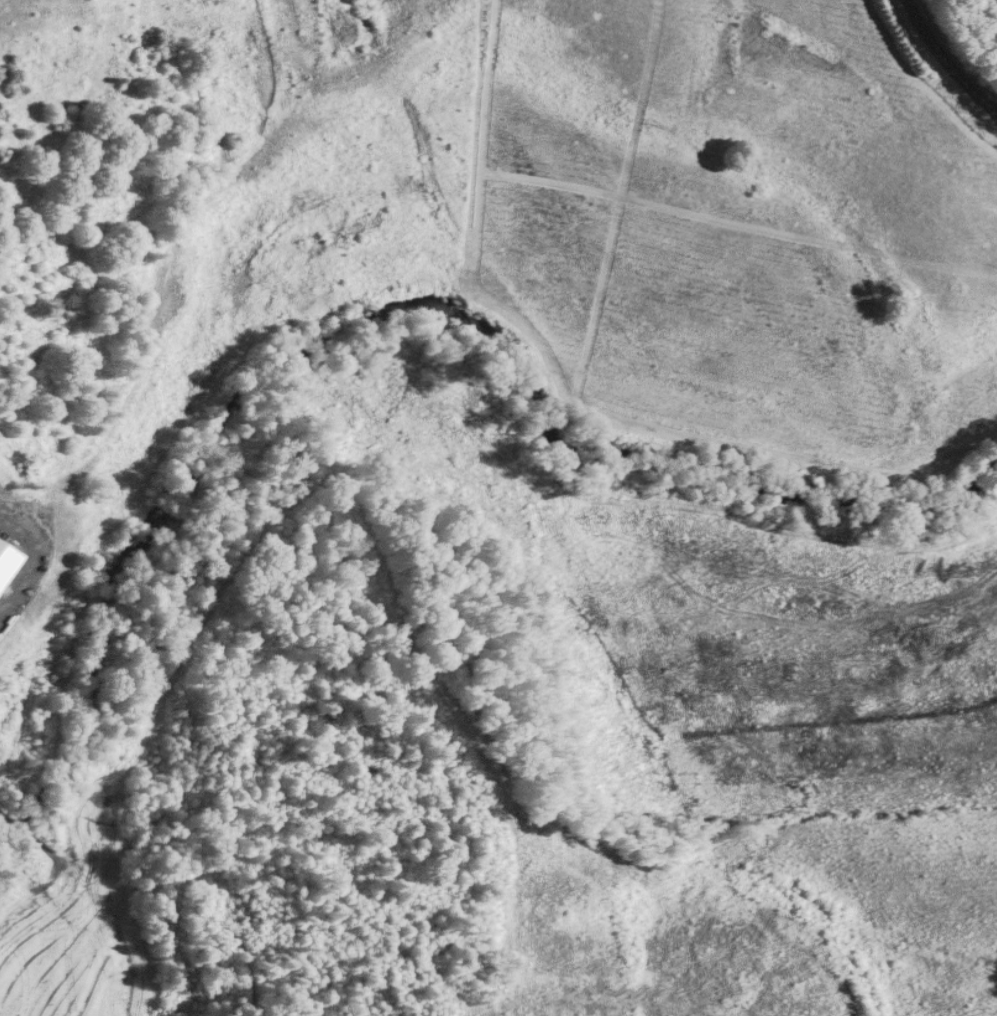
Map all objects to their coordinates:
road: (945, 60)
road: (38, 562)

